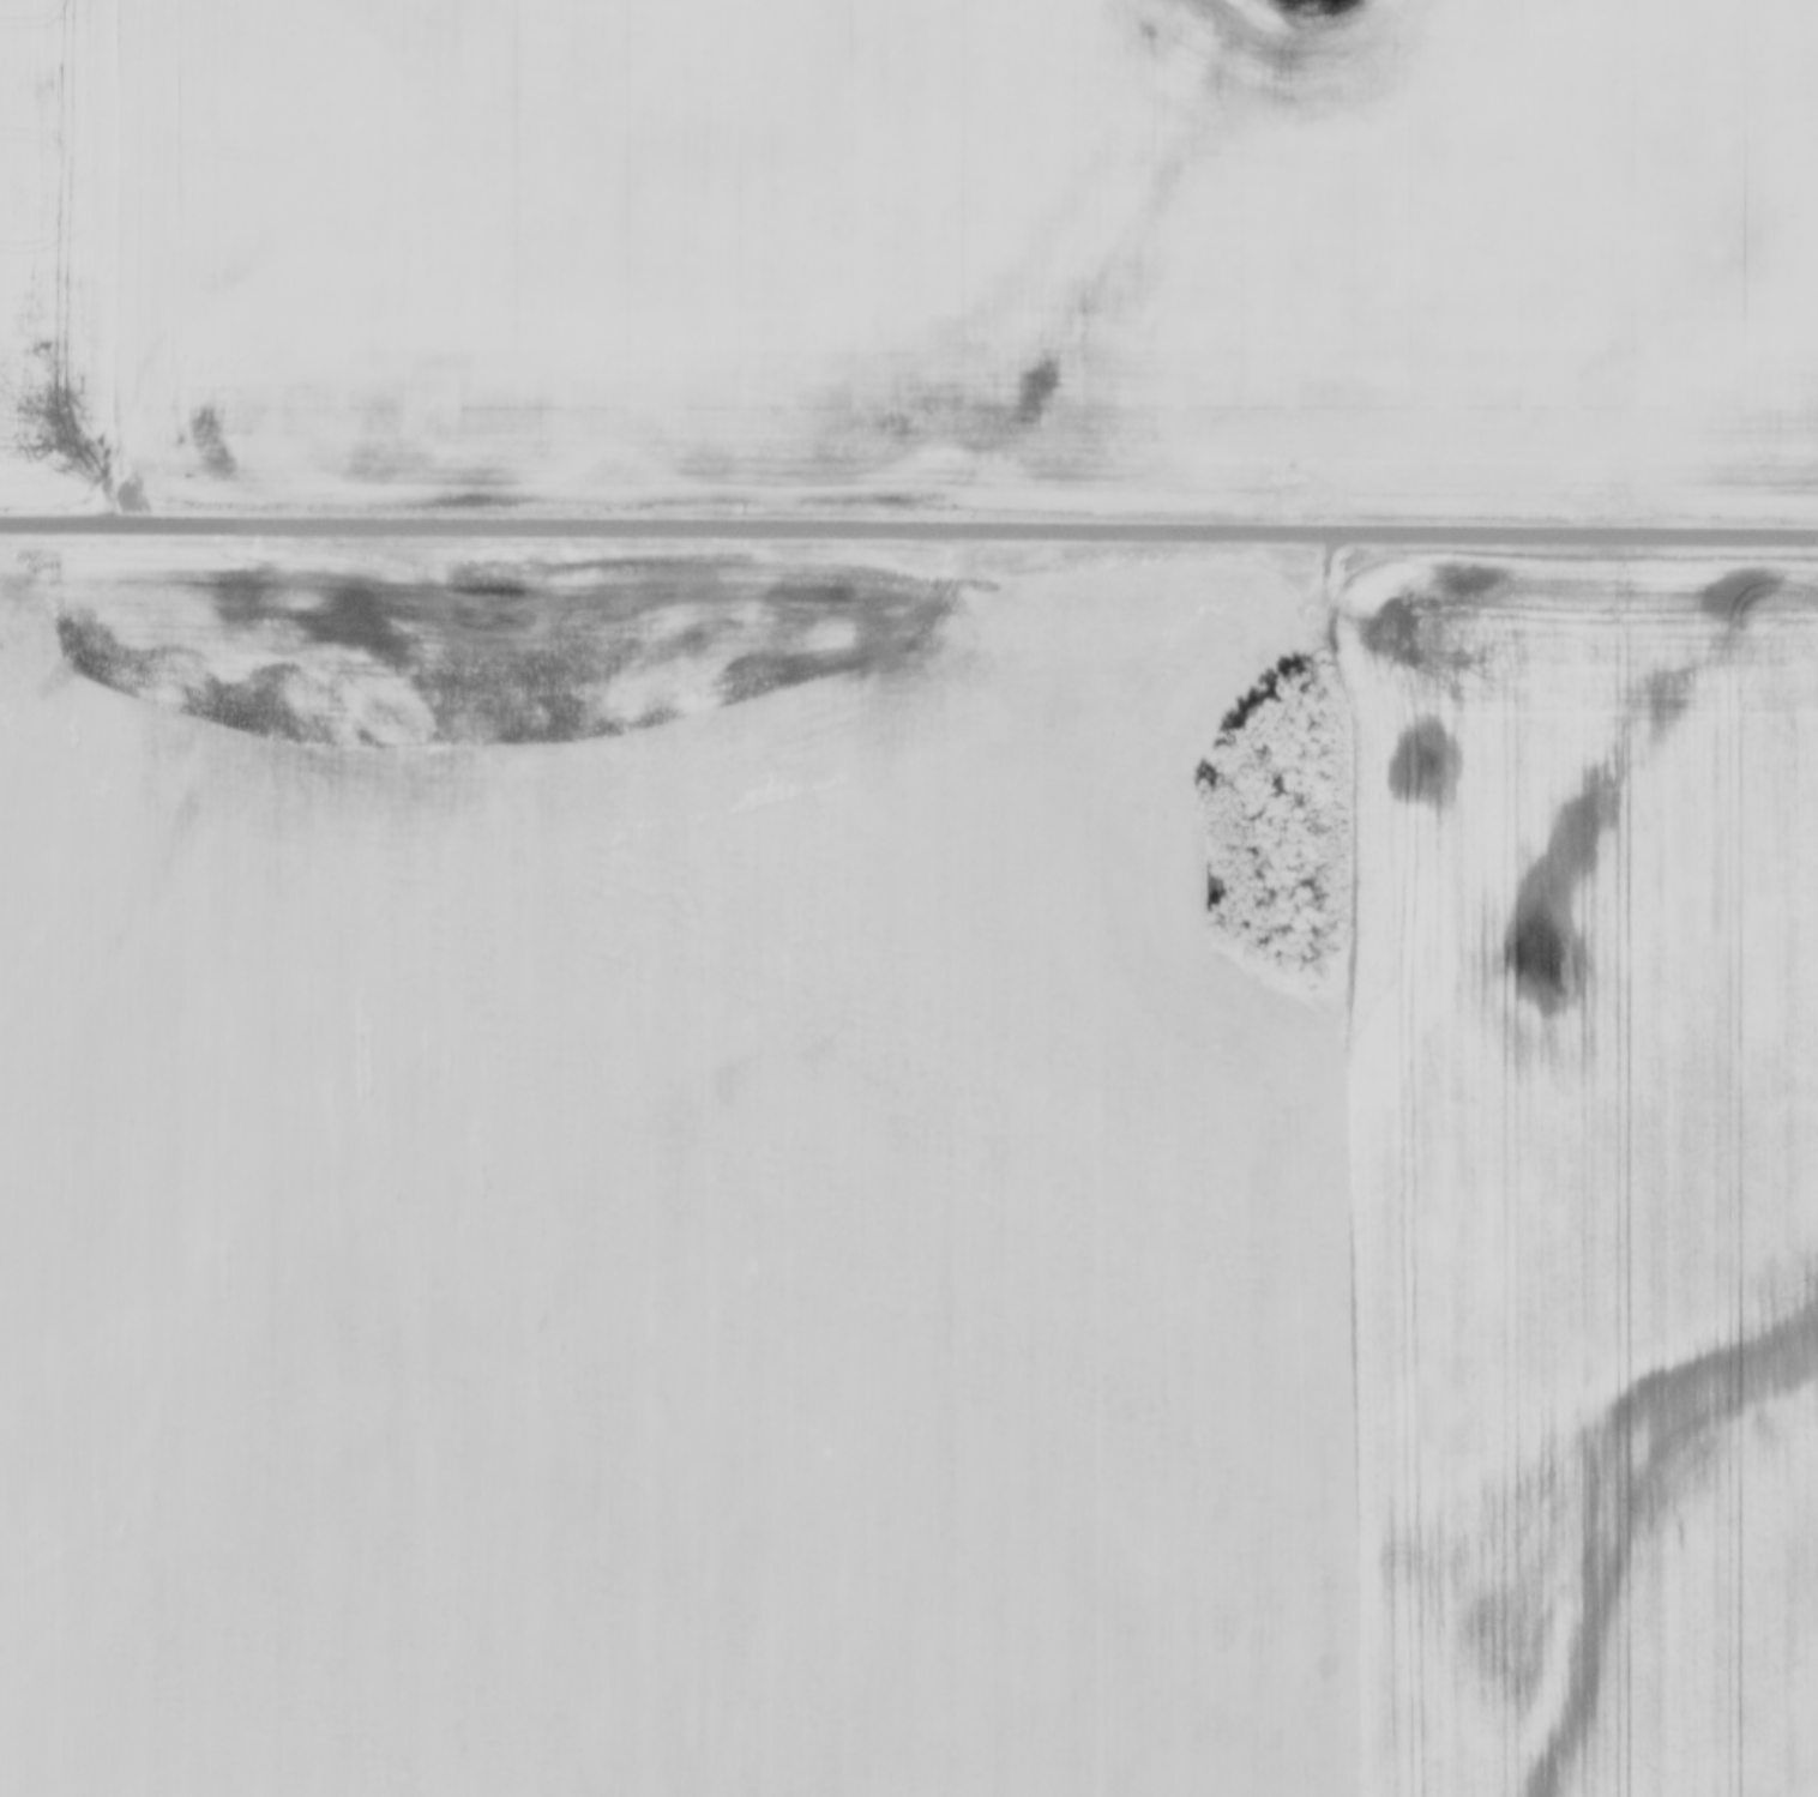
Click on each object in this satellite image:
road: (908, 523)
building: (1222, 879)

